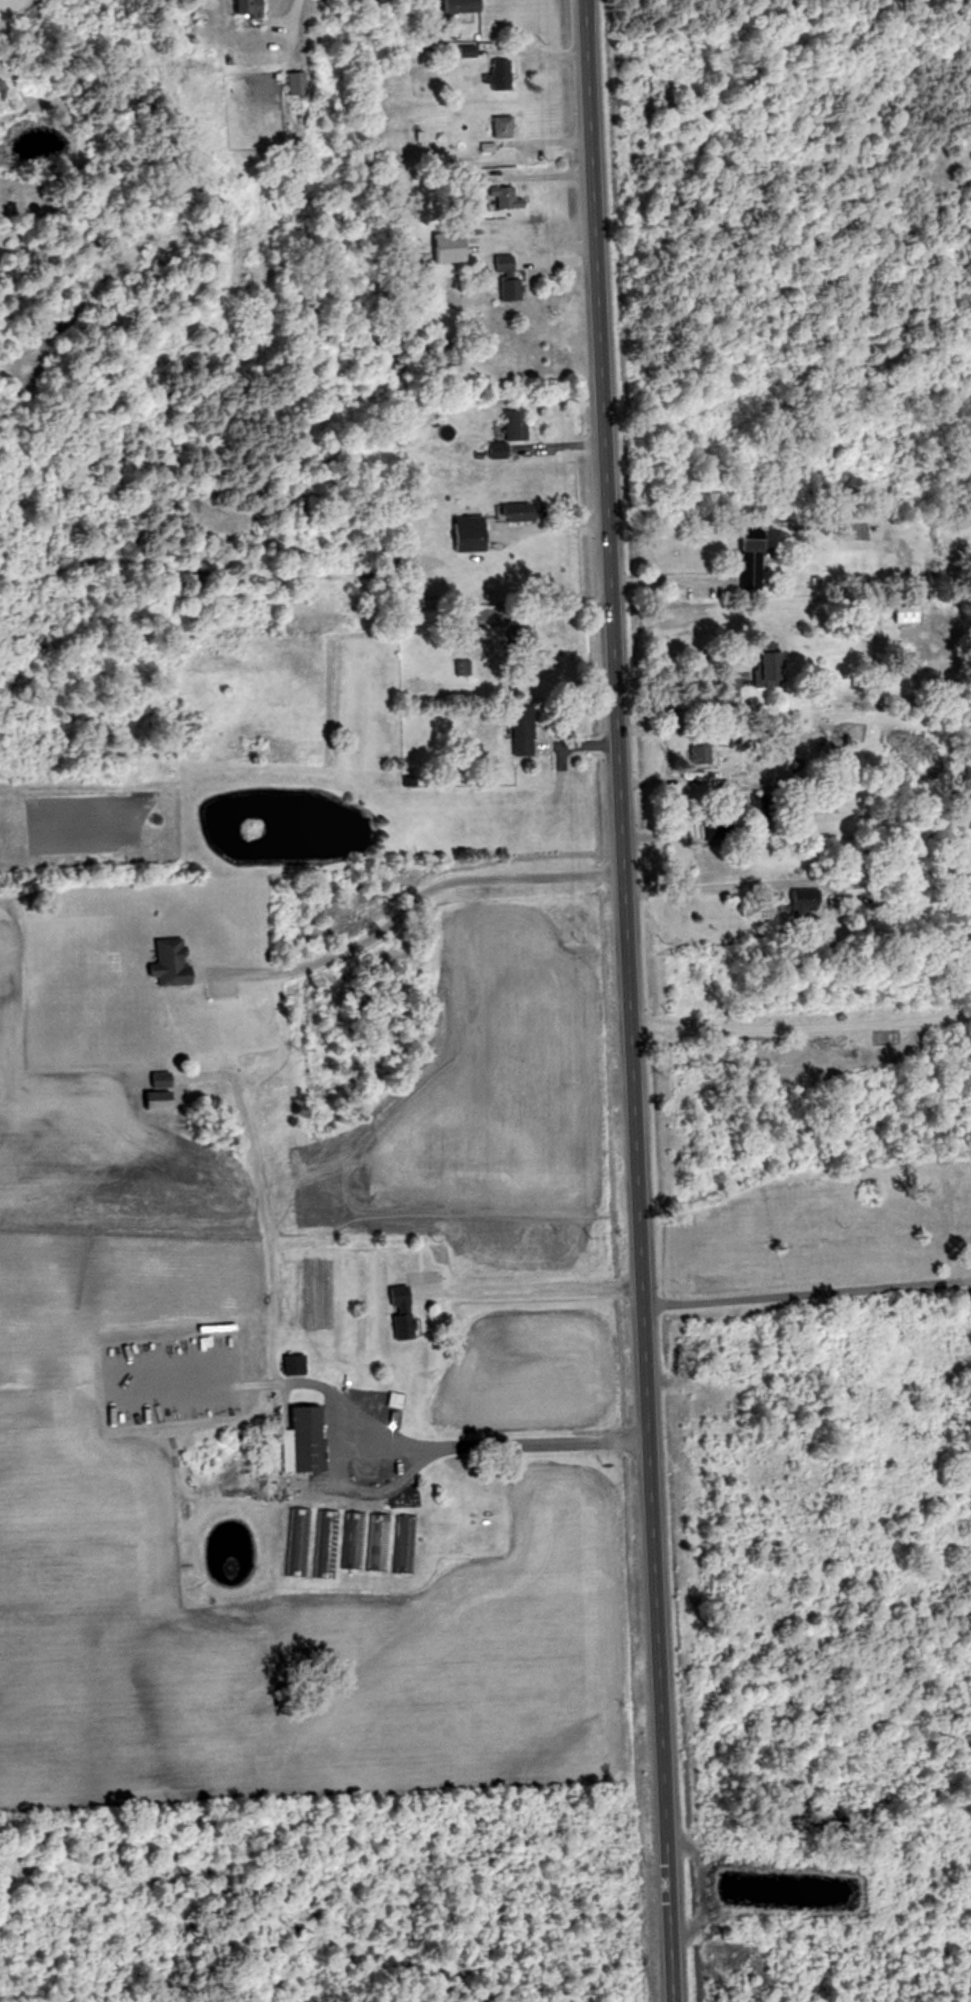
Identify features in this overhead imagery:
building: (464, 6)
building: (245, 12)
building: (501, 79)
building: (298, 84)
building: (505, 127)
building: (453, 248)
building: (512, 275)
building: (519, 424)
building: (502, 449)
building: (524, 510)
building: (474, 533)
building: (745, 557)
road: (657, 580)
building: (901, 611)
building: (517, 639)
building: (762, 669)
road: (663, 682)
building: (526, 731)
building: (694, 749)
road: (650, 753)
building: (713, 830)
road: (717, 888)
road: (405, 907)
building: (173, 963)
road: (613, 1001)
road: (793, 1031)
building: (164, 1081)
road: (532, 1293)
road: (805, 1297)
building: (405, 1313)
road: (290, 1381)
building: (383, 1418)
building: (304, 1436)
road: (350, 1488)
building: (352, 1544)
building: (296, 1546)
building: (378, 1546)
building: (325, 1547)
building: (404, 1547)

